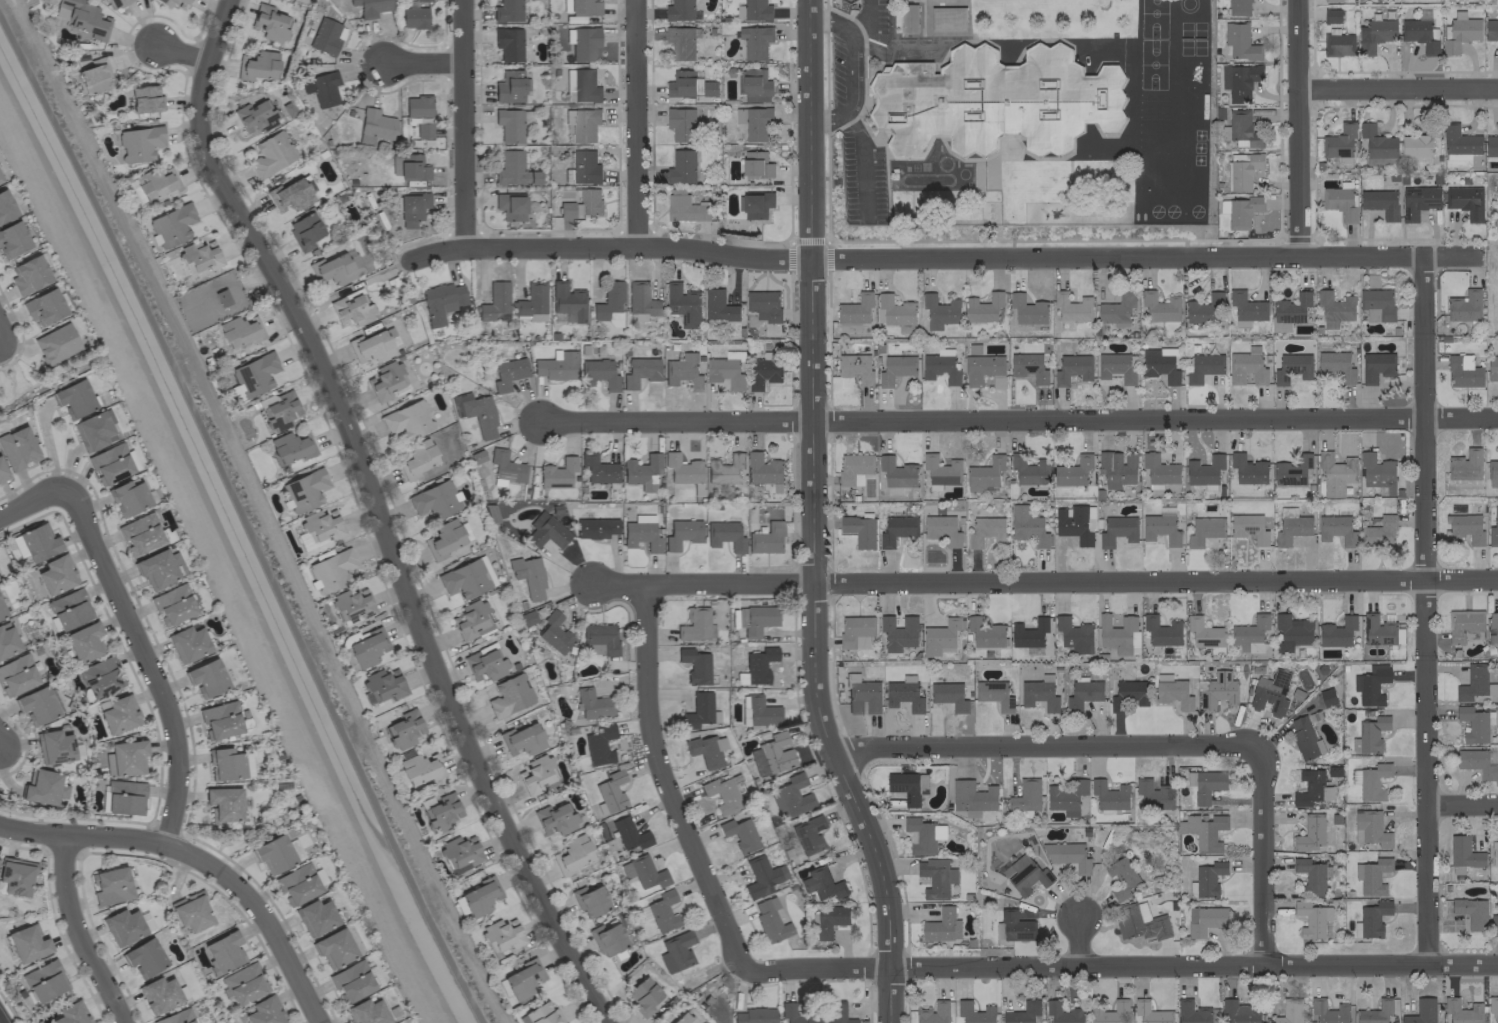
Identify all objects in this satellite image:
building: (848, 0)
building: (1331, 0)
building: (116, 3)
building: (174, 3)
building: (371, 7)
building: (584, 7)
building: (1238, 7)
building: (679, 10)
building: (756, 10)
building: (507, 11)
building: (414, 14)
building: (1331, 15)
building: (82, 18)
building: (948, 18)
road: (863, 19)
building: (909, 19)
building: (268, 23)
building: (1491, 29)
building: (1460, 32)
building: (1375, 34)
building: (1420, 34)
building: (326, 36)
building: (754, 41)
building: (1239, 41)
building: (583, 42)
building: (681, 42)
building: (508, 43)
building: (1338, 44)
road: (182, 52)
road: (424, 63)
building: (257, 65)
road: (852, 69)
building: (94, 75)
building: (1239, 81)
building: (581, 85)
building: (689, 85)
building: (753, 85)
building: (509, 86)
building: (324, 88)
road: (1398, 89)
building: (145, 98)
building: (994, 101)
building: (419, 114)
building: (254, 117)
road: (464, 123)
building: (582, 123)
road: (637, 123)
building: (752, 123)
building: (681, 124)
building: (509, 125)
building: (373, 126)
road: (1298, 128)
building: (1242, 130)
building: (1339, 141)
building: (1377, 142)
building: (1418, 142)
building: (139, 143)
building: (1459, 143)
building: (1491, 145)
building: (271, 154)
road: (861, 163)
building: (756, 164)
building: (681, 166)
building: (412, 167)
building: (583, 168)
building: (1243, 169)
building: (513, 170)
building: (0, 180)
building: (156, 183)
building: (135, 191)
building: (290, 195)
building: (1418, 201)
building: (1465, 201)
building: (1340, 202)
building: (1380, 203)
building: (581, 204)
building: (755, 204)
building: (5, 206)
building: (510, 206)
building: (684, 206)
building: (411, 208)
building: (1240, 210)
building: (1497, 218)
building: (171, 225)
building: (304, 231)
building: (12, 239)
building: (199, 256)
road: (943, 258)
building: (335, 267)
building: (29, 275)
building: (567, 300)
building: (609, 300)
building: (440, 301)
building: (641, 301)
building: (494, 302)
building: (531, 302)
building: (682, 304)
building: (1377, 304)
building: (764, 305)
building: (718, 306)
building: (1464, 306)
building: (44, 307)
building: (1072, 307)
building: (1160, 307)
building: (983, 308)
building: (1245, 308)
building: (1027, 309)
building: (1204, 309)
building: (1334, 309)
building: (1117, 310)
building: (350, 311)
building: (940, 311)
building: (1289, 311)
building: (854, 312)
building: (893, 312)
building: (240, 331)
building: (56, 343)
building: (370, 347)
building: (734, 355)
building: (556, 365)
building: (1159, 365)
building: (1246, 366)
building: (1335, 366)
building: (1376, 366)
building: (855, 367)
building: (940, 367)
building: (1028, 367)
building: (1117, 367)
building: (1203, 367)
building: (1292, 367)
building: (895, 368)
building: (1072, 368)
building: (1492, 368)
building: (764, 370)
building: (984, 370)
building: (640, 371)
building: (683, 371)
building: (1463, 371)
building: (725, 372)
building: (508, 373)
building: (598, 373)
building: (254, 374)
building: (385, 381)
building: (74, 397)
building: (279, 410)
building: (475, 412)
road: (1018, 416)
building: (407, 419)
building: (94, 430)
building: (291, 447)
building: (17, 448)
building: (417, 459)
building: (110, 464)
building: (1465, 464)
building: (506, 466)
building: (682, 468)
building: (854, 468)
building: (1116, 468)
building: (599, 469)
building: (724, 469)
building: (763, 469)
building: (1029, 469)
building: (1248, 469)
building: (1335, 469)
building: (941, 470)
building: (1159, 470)
building: (1204, 470)
building: (1292, 470)
building: (641, 471)
building: (1073, 471)
building: (2, 472)
building: (897, 472)
building: (557, 473)
building: (984, 473)
building: (1377, 473)
building: (1492, 473)
building: (305, 489)
building: (128, 497)
building: (435, 500)
road: (32, 502)
road: (378, 513)
road: (814, 518)
road: (243, 520)
building: (1075, 523)
building: (1027, 526)
building: (1291, 526)
building: (595, 527)
building: (1249, 527)
building: (1465, 527)
building: (318, 528)
building: (1160, 528)
building: (896, 529)
building: (941, 529)
building: (1336, 529)
building: (1493, 529)
building: (859, 530)
building: (1117, 530)
building: (1204, 530)
building: (545, 531)
building: (985, 531)
building: (1379, 532)
building: (140, 533)
building: (641, 533)
building: (682, 533)
building: (724, 535)
building: (766, 538)
building: (443, 539)
building: (38, 542)
building: (159, 567)
building: (332, 569)
building: (56, 575)
building: (529, 576)
building: (466, 578)
road: (1043, 578)
building: (172, 604)
building: (352, 605)
building: (69, 609)
road: (1426, 610)
building: (2, 611)
building: (755, 619)
building: (471, 620)
building: (695, 624)
building: (1464, 625)
building: (1492, 627)
building: (1161, 630)
building: (1377, 630)
building: (856, 631)
building: (553, 632)
building: (898, 632)
building: (985, 632)
building: (1072, 632)
building: (1204, 632)
building: (1292, 632)
building: (1337, 632)
building: (1029, 633)
building: (1118, 634)
building: (1250, 634)
building: (939, 636)
building: (601, 637)
building: (8, 642)
building: (83, 642)
building: (188, 643)
building: (485, 661)
road: (147, 663)
building: (758, 664)
building: (694, 665)
building: (16, 675)
building: (99, 676)
building: (206, 677)
building: (1475, 683)
building: (383, 684)
building: (1371, 684)
building: (1172, 691)
building: (1218, 691)
building: (1270, 692)
building: (1039, 693)
building: (994, 694)
building: (1083, 694)
building: (861, 695)
building: (903, 695)
building: (950, 695)
building: (1128, 695)
building: (509, 696)
building: (591, 704)
building: (36, 705)
building: (699, 711)
building: (758, 711)
building: (119, 714)
building: (220, 720)
building: (1474, 724)
building: (404, 729)
building: (1370, 735)
building: (1304, 738)
building: (522, 739)
building: (599, 744)
road: (1044, 744)
building: (53, 746)
building: (706, 749)
building: (772, 754)
building: (124, 757)
building: (1478, 763)
building: (225, 764)
building: (247, 764)
building: (420, 768)
building: (537, 775)
building: (1373, 781)
building: (1205, 784)
road: (664, 785)
building: (908, 786)
building: (42, 787)
building: (1311, 788)
building: (610, 790)
building: (721, 794)
building: (1153, 794)
building: (1026, 795)
building: (1109, 795)
building: (791, 796)
building: (125, 797)
building: (972, 797)
building: (1066, 797)
building: (223, 804)
road: (1462, 804)
building: (440, 811)
building: (554, 819)
building: (1370, 828)
building: (1204, 831)
building: (1310, 833)
building: (628, 834)
building: (739, 834)
building: (808, 835)
building: (922, 835)
road: (1264, 851)
building: (1464, 852)
building: (460, 853)
building: (1494, 853)
building: (273, 854)
building: (572, 854)
building: (1068, 855)
road: (200, 860)
building: (642, 872)
building: (1027, 875)
building: (16, 876)
building: (761, 876)
building: (1311, 876)
building: (1372, 876)
building: (936, 877)
building: (1121, 877)
building: (1209, 878)
building: (822, 883)
building: (297, 884)
building: (110, 886)
building: (479, 897)
building: (590, 900)
building: (191, 911)
building: (660, 911)
building: (1471, 912)
building: (1494, 915)
building: (315, 917)
building: (1373, 918)
building: (829, 919)
building: (770, 920)
building: (1205, 920)
building: (1313, 920)
building: (145, 921)
building: (1140, 922)
building: (122, 926)
building: (942, 926)
building: (1013, 927)
road: (78, 934)
building: (501, 936)
building: (607, 938)
road: (1077, 942)
building: (27, 943)
building: (333, 947)
building: (223, 951)
building: (676, 951)
building: (143, 957)
road: (1121, 963)
building: (523, 978)
building: (44, 981)
building: (351, 981)
building: (244, 983)
building: (159, 994)
building: (643, 996)
building: (1493, 1006)
building: (264, 1011)
building: (1462, 1011)
building: (367, 1012)
building: (836, 1012)
building: (975, 1012)
building: (1022, 1012)
building: (1062, 1012)
building: (1150, 1012)
building: (1195, 1012)
building: (1239, 1012)
building: (1289, 1012)
building: (1331, 1012)
building: (1375, 1012)
building: (1421, 1012)
building: (70, 1013)
building: (933, 1013)
building: (1110, 1013)
building: (540, 1014)
building: (794, 1014)
building: (754, 1015)
building: (175, 1017)
building: (682, 1018)

